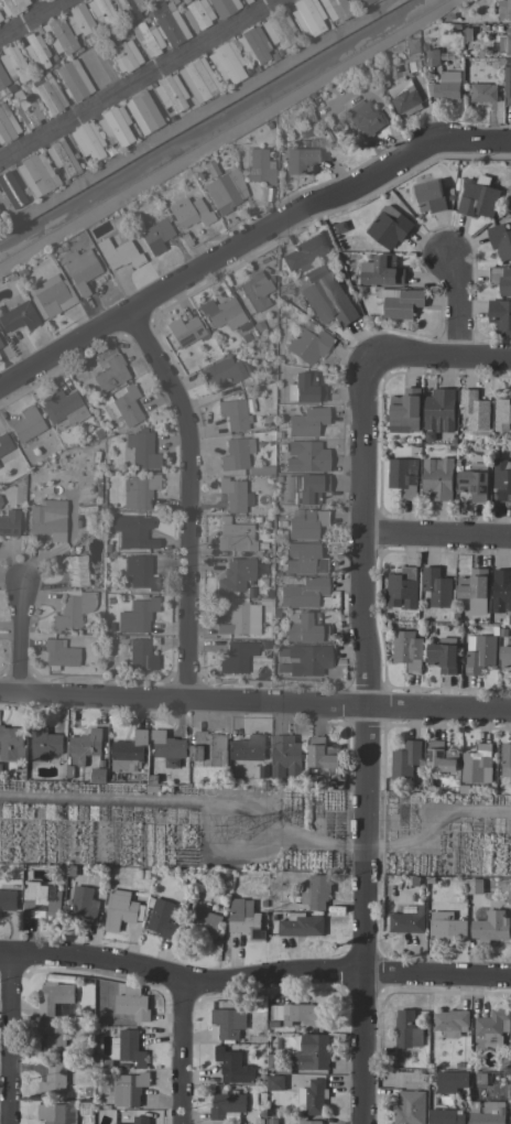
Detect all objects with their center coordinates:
building: (362, 1)
building: (11, 6)
building: (224, 7)
building: (129, 8)
building: (335, 9)
building: (504, 10)
building: (197, 13)
building: (101, 14)
building: (0, 17)
building: (306, 17)
building: (78, 19)
road: (33, 20)
building: (170, 24)
building: (278, 28)
building: (59, 35)
building: (148, 37)
building: (503, 42)
building: (251, 44)
building: (410, 45)
building: (35, 50)
building: (124, 55)
building: (431, 57)
building: (225, 61)
building: (12, 62)
building: (97, 64)
building: (411, 67)
building: (0, 74)
road: (137, 78)
building: (74, 79)
building: (197, 79)
building: (507, 80)
building: (0, 85)
building: (445, 86)
building: (168, 91)
building: (482, 93)
building: (47, 94)
building: (403, 97)
building: (26, 108)
building: (143, 110)
road: (193, 114)
building: (362, 118)
building: (7, 125)
building: (113, 125)
road: (227, 132)
building: (86, 139)
road: (474, 141)
building: (59, 155)
building: (300, 160)
building: (260, 165)
building: (34, 173)
building: (9, 187)
building: (225, 190)
building: (428, 194)
building: (477, 199)
building: (191, 210)
building: (389, 226)
building: (155, 235)
building: (500, 241)
building: (305, 250)
building: (118, 251)
road: (215, 256)
building: (79, 268)
building: (381, 271)
building: (501, 279)
building: (254, 290)
building: (52, 298)
building: (328, 300)
building: (400, 302)
road: (456, 304)
building: (224, 313)
building: (500, 314)
building: (18, 316)
building: (185, 329)
building: (307, 342)
building: (0, 344)
road: (438, 355)
building: (108, 369)
building: (220, 374)
building: (304, 387)
building: (62, 406)
building: (124, 406)
building: (439, 410)
building: (472, 410)
building: (404, 411)
building: (233, 413)
building: (502, 413)
building: (306, 421)
building: (26, 423)
building: (3, 442)
building: (141, 447)
building: (236, 452)
building: (305, 455)
building: (260, 469)
building: (401, 477)
building: (436, 478)
building: (500, 479)
building: (474, 482)
building: (304, 487)
building: (139, 490)
building: (232, 493)
road: (186, 497)
building: (47, 518)
building: (9, 522)
building: (305, 523)
building: (132, 530)
building: (235, 536)
road: (438, 536)
building: (303, 558)
building: (74, 568)
building: (139, 571)
building: (235, 574)
building: (436, 587)
building: (402, 588)
building: (474, 590)
building: (500, 591)
building: (302, 592)
building: (73, 607)
building: (137, 615)
building: (237, 616)
building: (304, 627)
road: (18, 639)
building: (264, 644)
building: (407, 650)
building: (58, 653)
building: (140, 653)
building: (479, 653)
building: (505, 653)
building: (443, 656)
building: (235, 657)
building: (303, 658)
building: (510, 674)
road: (254, 701)
road: (362, 739)
building: (44, 743)
building: (11, 744)
building: (85, 746)
building: (249, 747)
building: (167, 748)
building: (209, 748)
building: (129, 752)
building: (285, 755)
building: (441, 757)
building: (323, 758)
building: (404, 760)
building: (505, 760)
building: (475, 763)
building: (0, 770)
building: (98, 775)
building: (148, 789)
road: (175, 801)
road: (434, 823)
power tower: (237, 831)
road: (351, 850)
road: (226, 853)
building: (68, 871)
building: (474, 886)
building: (317, 891)
building: (8, 900)
building: (41, 900)
building: (84, 905)
building: (121, 909)
building: (161, 918)
building: (246, 919)
building: (407, 919)
building: (205, 923)
building: (301, 926)
building: (447, 927)
building: (491, 927)
road: (253, 975)
building: (55, 997)
building: (133, 1004)
building: (297, 1013)
building: (229, 1022)
building: (450, 1023)
building: (493, 1028)
building: (407, 1030)
building: (54, 1036)
road: (7, 1040)
building: (253, 1040)
building: (131, 1048)
building: (312, 1051)
road: (181, 1053)
building: (272, 1059)
building: (101, 1062)
building: (233, 1067)
building: (54, 1079)
building: (450, 1081)
building: (274, 1082)
building: (128, 1089)
building: (313, 1096)
building: (227, 1105)
building: (410, 1107)
building: (57, 1113)
building: (487, 1113)
building: (445, 1116)
building: (141, 1120)
building: (510, 1121)
building: (309, 1122)

